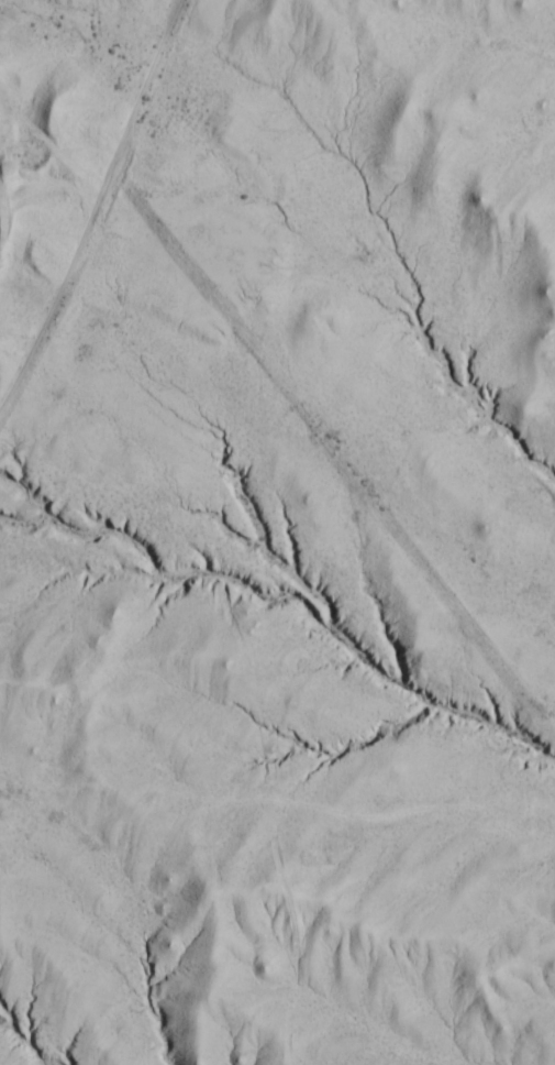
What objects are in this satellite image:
road: (104, 231)

